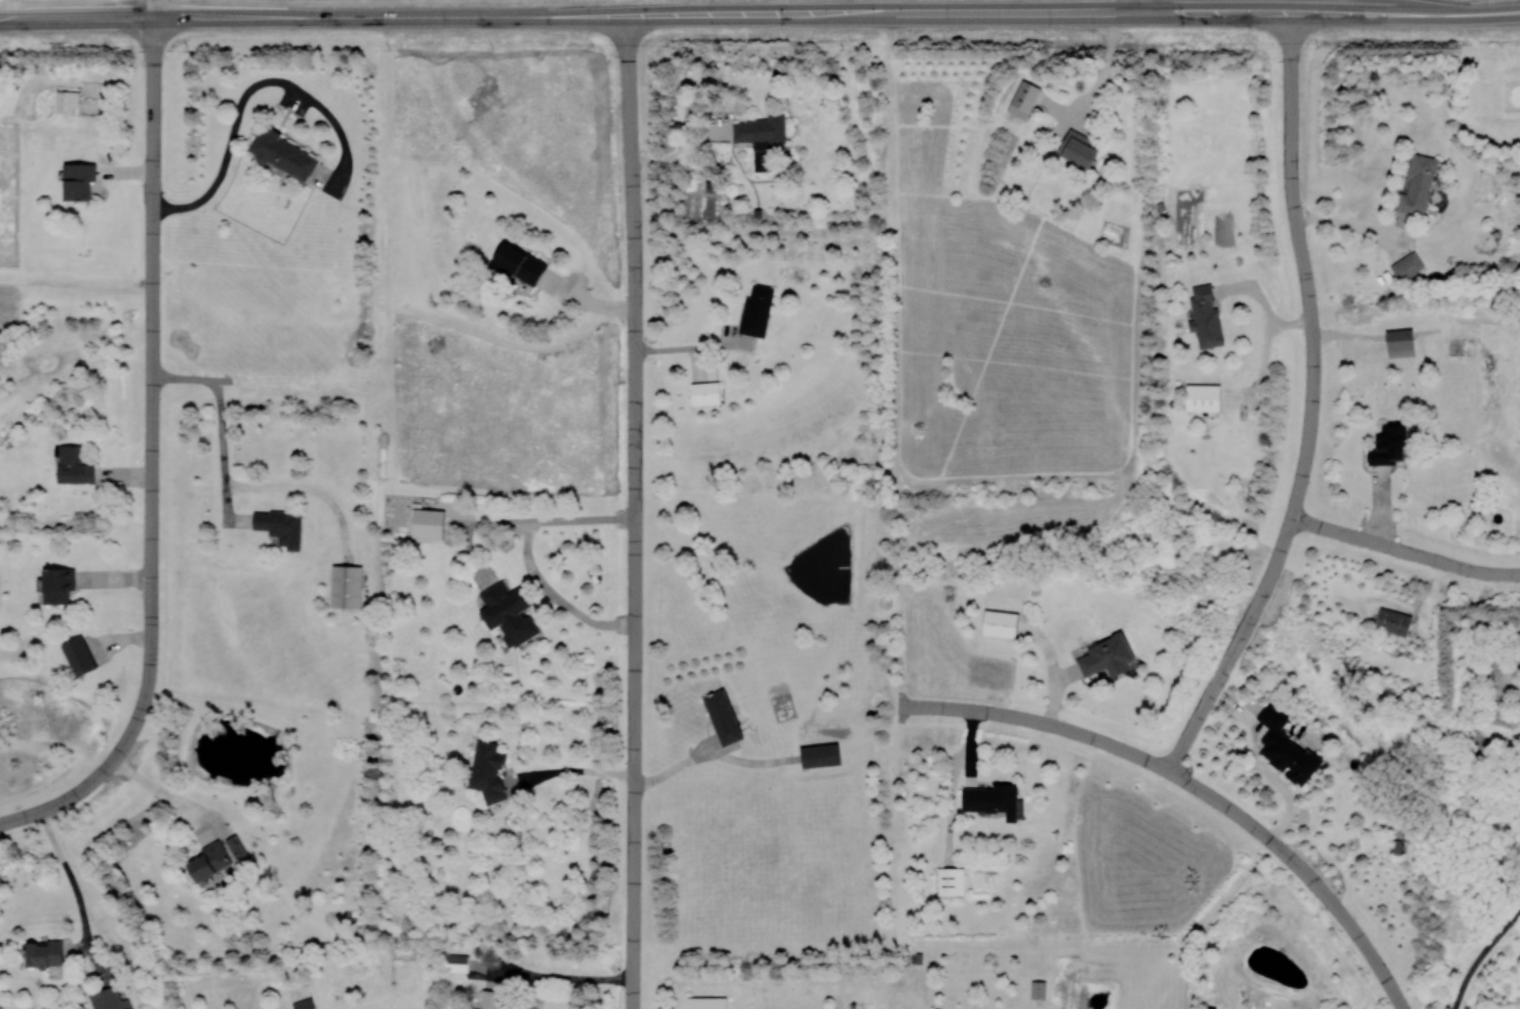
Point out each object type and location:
road: (1141, 6)
road: (153, 8)
road: (1017, 13)
road: (1330, 14)
road: (643, 15)
road: (186, 16)
road: (382, 16)
road: (1105, 74)
road: (249, 86)
building: (1023, 99)
building: (68, 101)
building: (761, 137)
building: (1078, 149)
road: (683, 152)
building: (284, 154)
building: (79, 180)
building: (1417, 186)
road: (153, 198)
road: (1360, 225)
road: (634, 254)
building: (519, 263)
building: (1406, 266)
road: (76, 274)
building: (548, 280)
road: (1264, 304)
building: (756, 310)
building: (1205, 316)
building: (1400, 342)
road: (693, 347)
road: (192, 381)
building: (705, 393)
building: (1203, 397)
road: (1311, 406)
building: (1388, 445)
road: (222, 449)
building: (74, 466)
building: (428, 523)
building: (280, 526)
road: (1404, 550)
road: (529, 558)
building: (58, 585)
building: (346, 586)
road: (151, 613)
building: (509, 613)
building: (1393, 621)
building: (1000, 623)
building: (79, 656)
building: (1107, 656)
building: (722, 717)
road: (633, 719)
road: (1036, 720)
building: (1285, 748)
road: (709, 753)
building: (821, 755)
building: (488, 769)
road: (571, 771)
road: (162, 793)
building: (992, 800)
road: (27, 816)
building: (236, 846)
building: (209, 861)
road: (1304, 871)
road: (72, 879)
building: (951, 881)
building: (44, 954)
road: (1482, 955)
building: (456, 963)
road: (571, 976)
road: (632, 977)
building: (1038, 989)
building: (109, 999)
building: (707, 1002)
building: (304, 1004)

